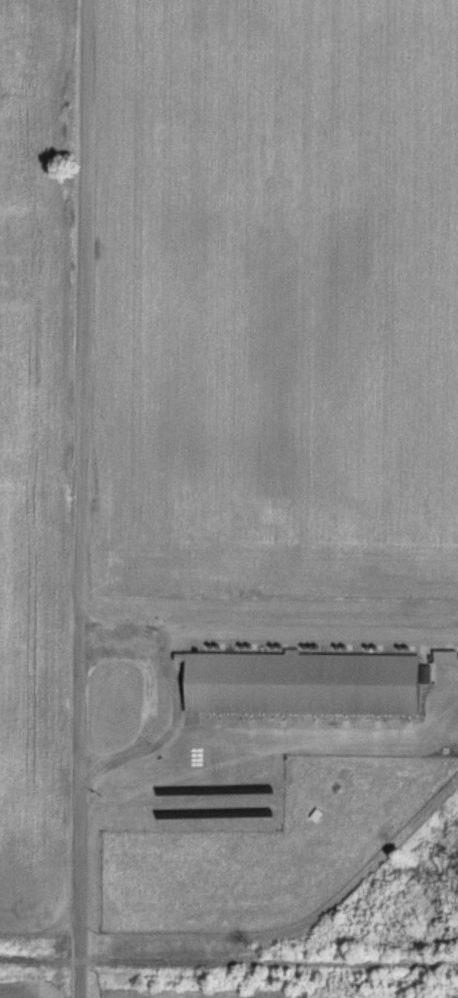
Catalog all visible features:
road: (82, 499)
road: (157, 697)
railway: (31, 960)
railway: (275, 964)

